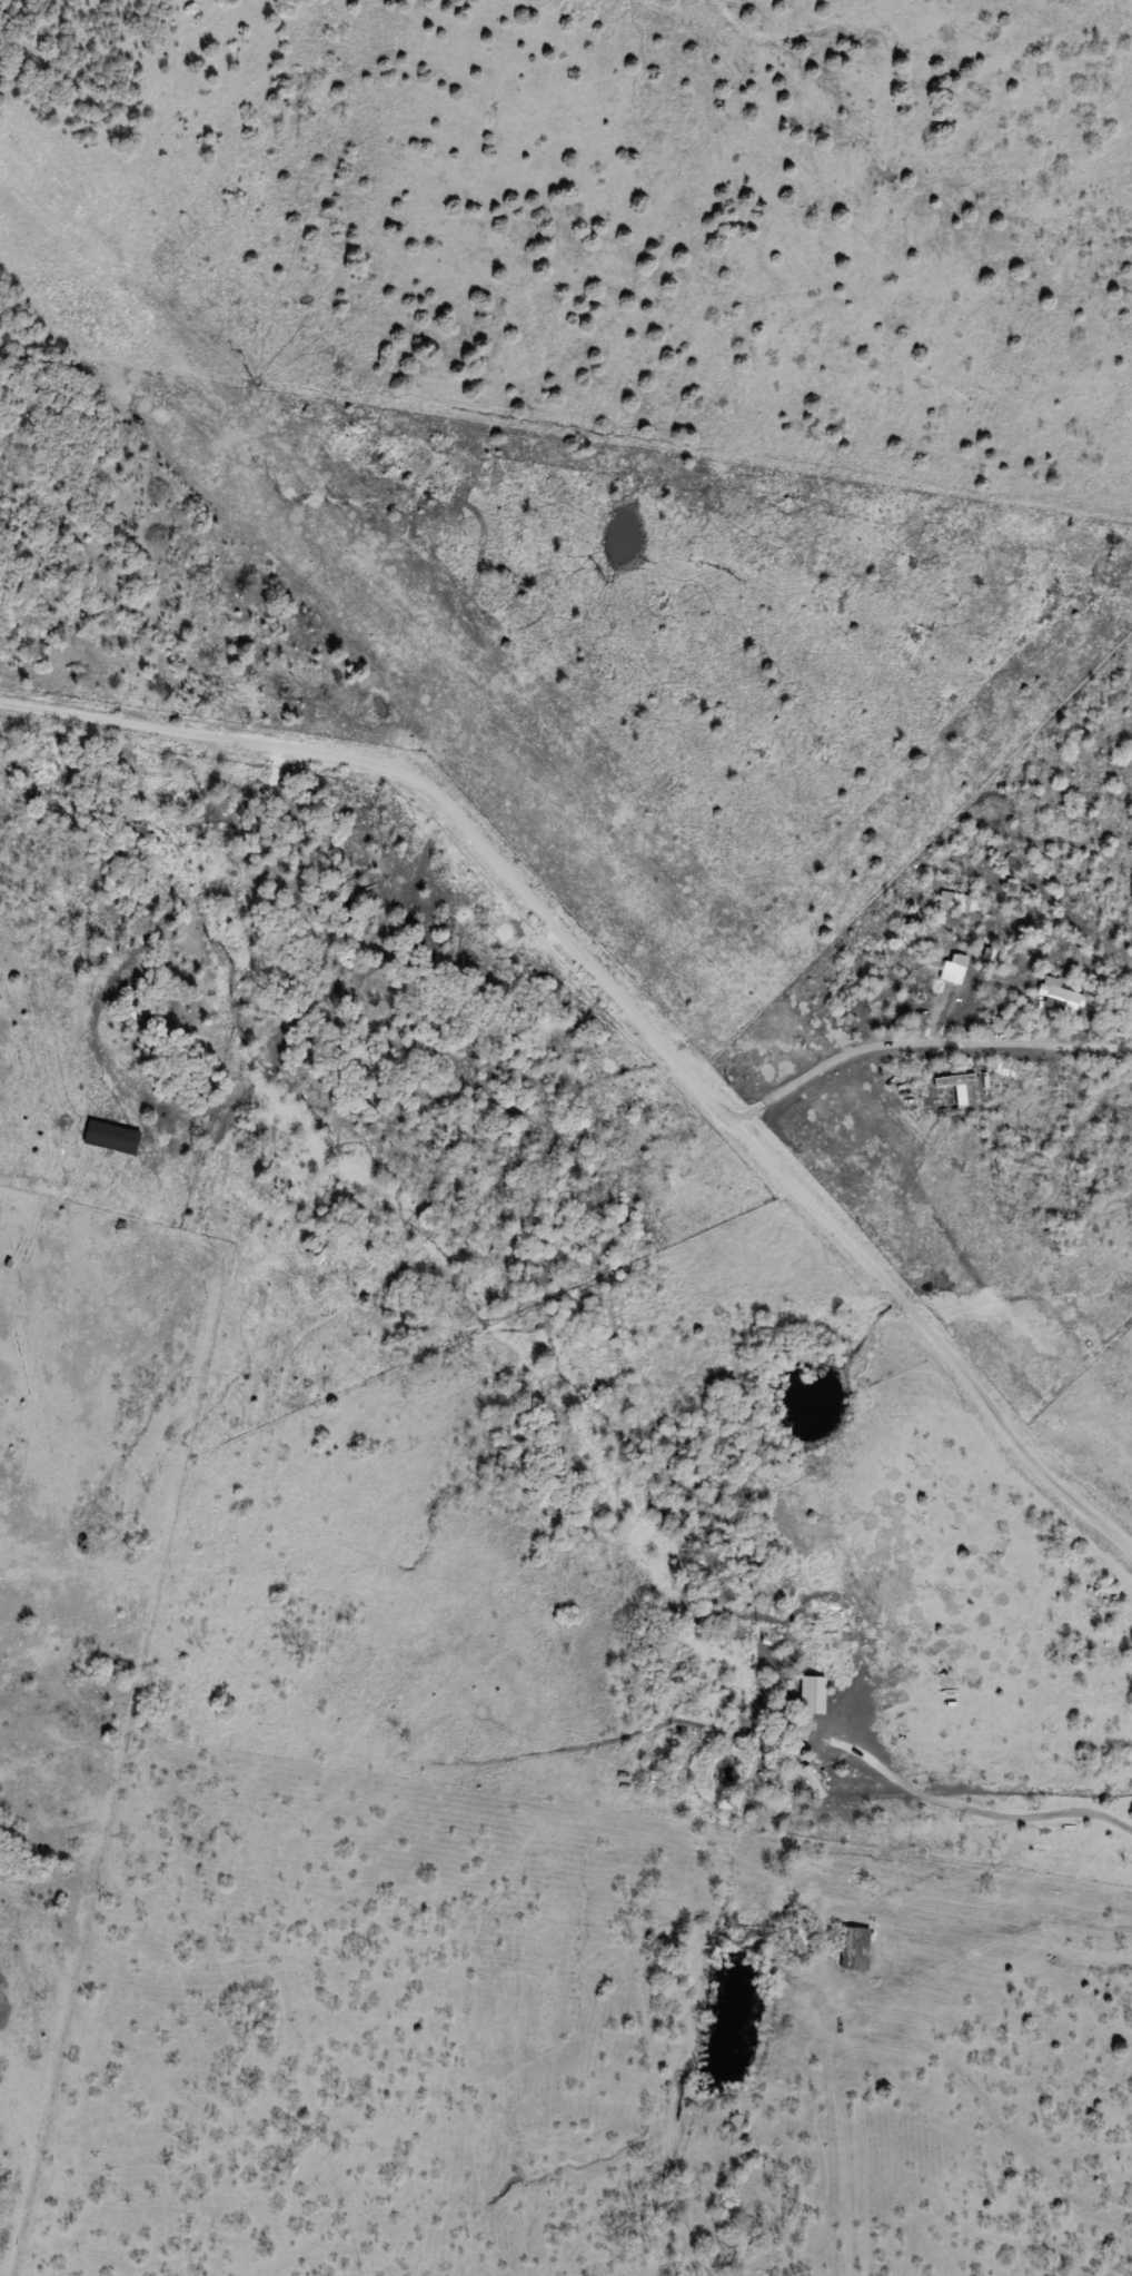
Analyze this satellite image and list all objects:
road: (633, 998)
road: (929, 1045)
road: (990, 1812)

